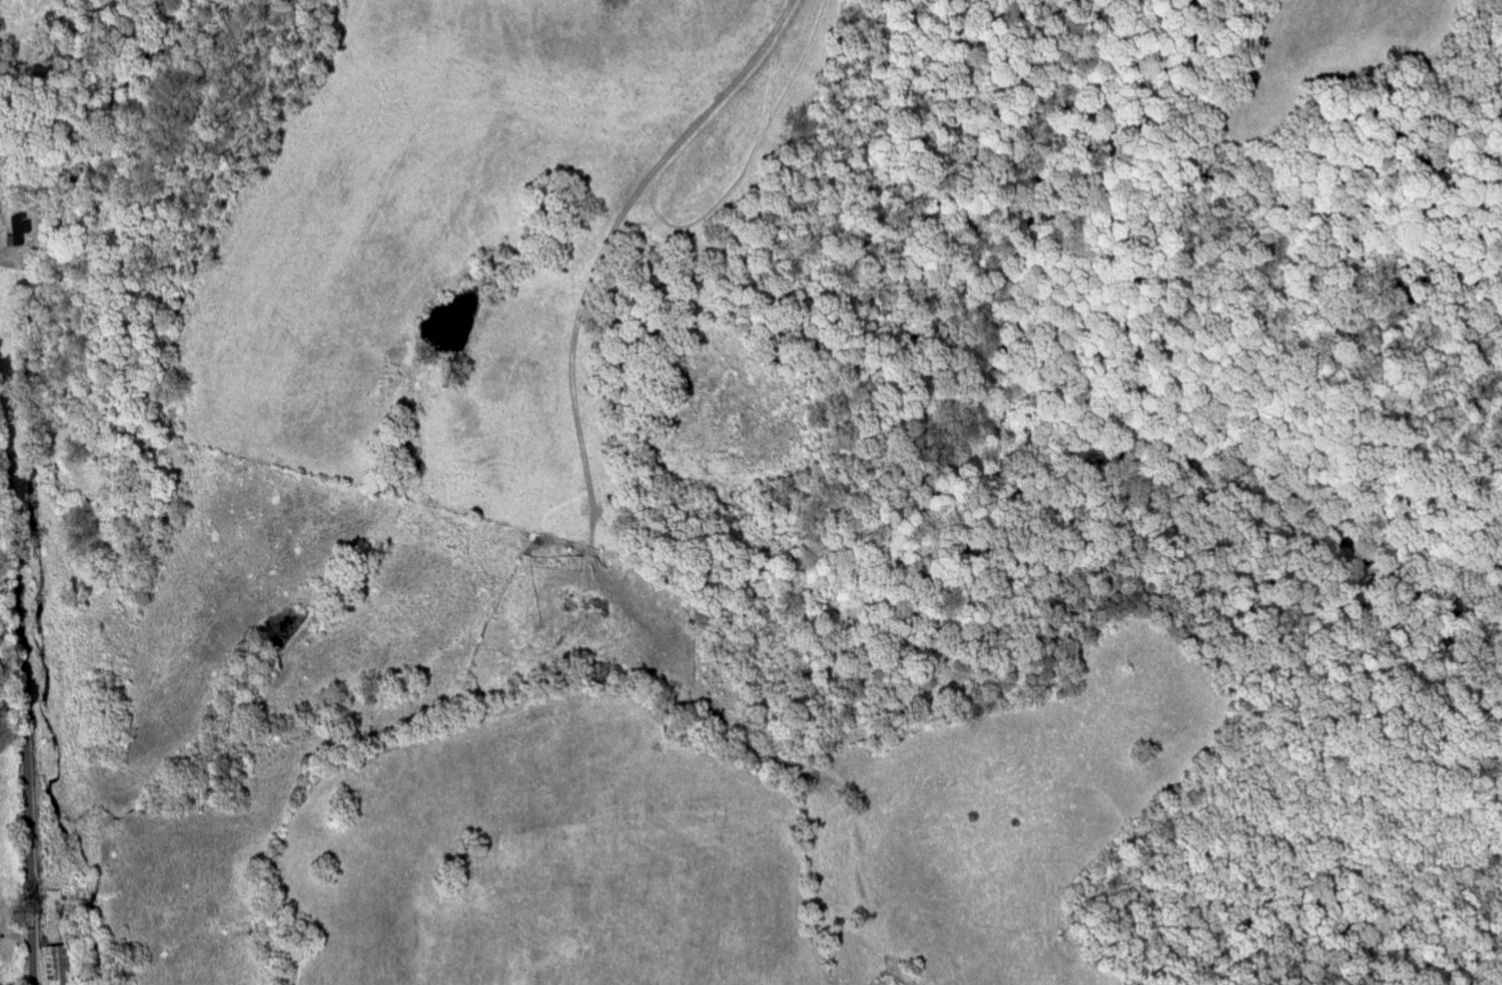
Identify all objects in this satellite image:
road: (22, 708)
building: (59, 965)

